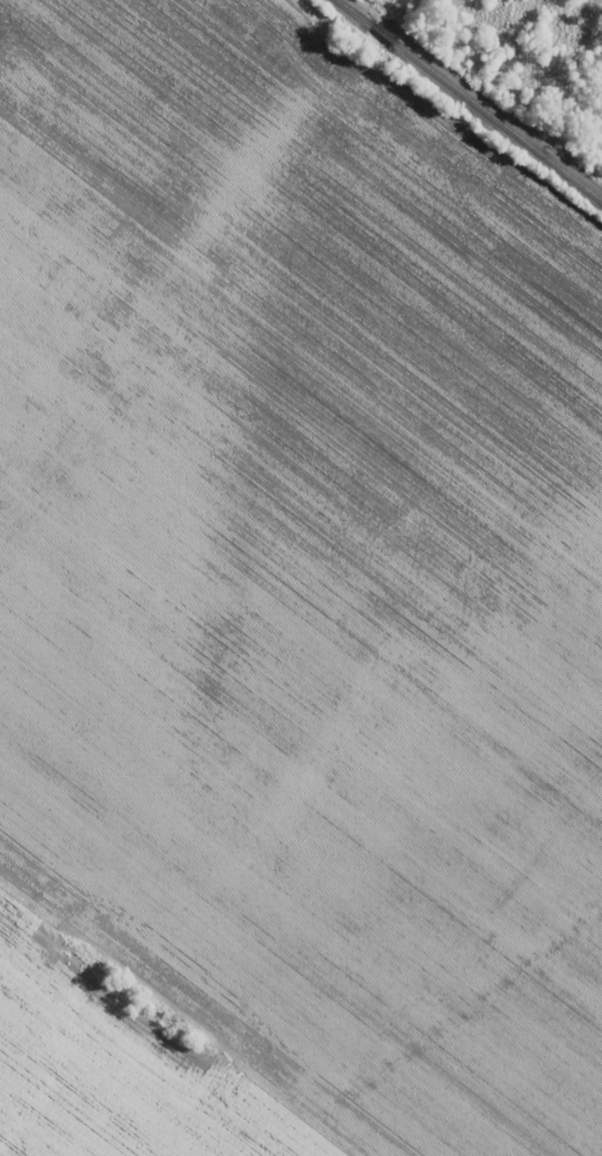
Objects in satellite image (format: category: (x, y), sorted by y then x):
railway: (468, 98)
crop: (288, 610)

